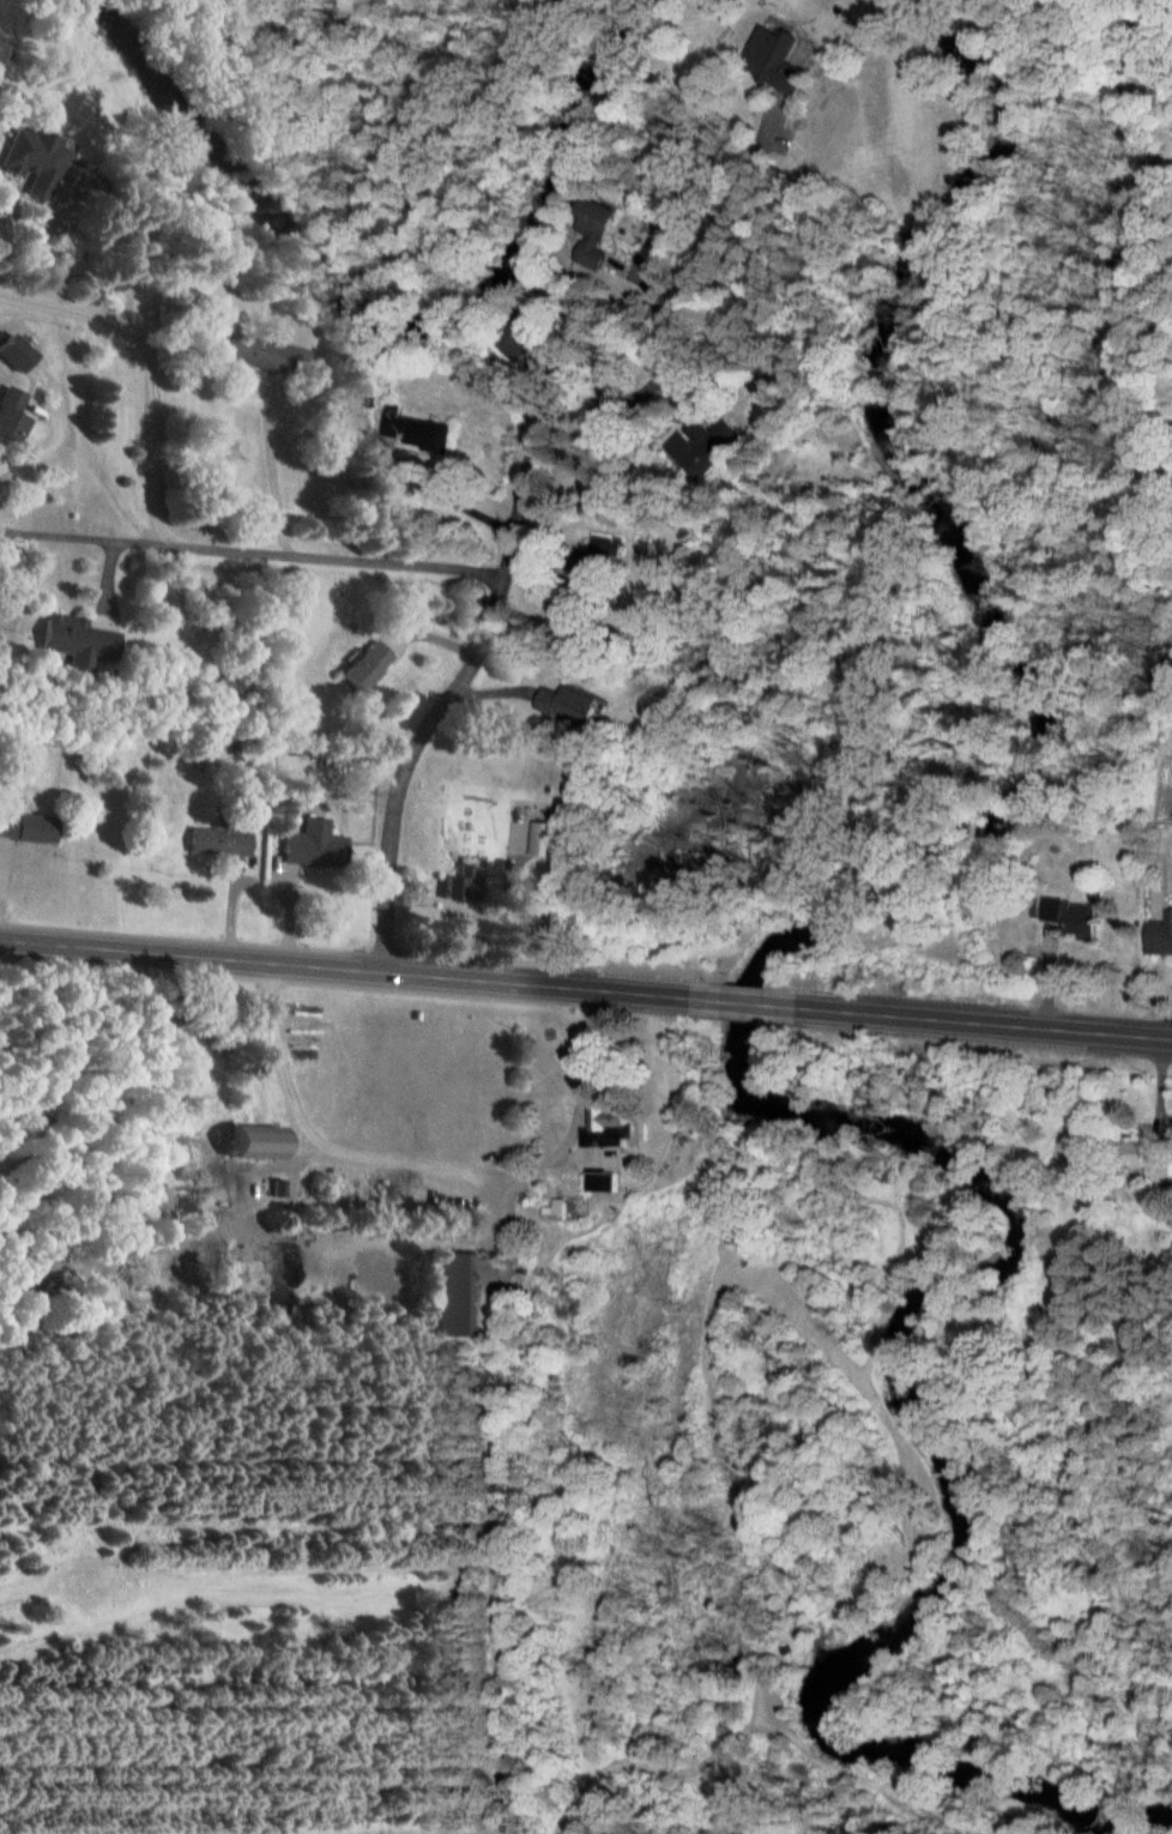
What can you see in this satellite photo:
building: (774, 60)
building: (29, 161)
building: (592, 237)
building: (13, 352)
building: (249, 355)
road: (150, 370)
building: (10, 412)
building: (413, 429)
road: (41, 442)
building: (701, 445)
road: (84, 530)
road: (507, 543)
road: (339, 559)
building: (73, 641)
building: (363, 665)
building: (564, 704)
building: (24, 828)
building: (543, 839)
building: (217, 841)
building: (310, 845)
building: (460, 883)
building: (1070, 917)
building: (1159, 937)
road: (362, 971)
road: (745, 1005)
road: (969, 1022)
building: (606, 1126)
building: (247, 1141)
building: (1140, 1160)
building: (599, 1182)
building: (159, 1202)
building: (552, 1211)
building: (451, 1295)

